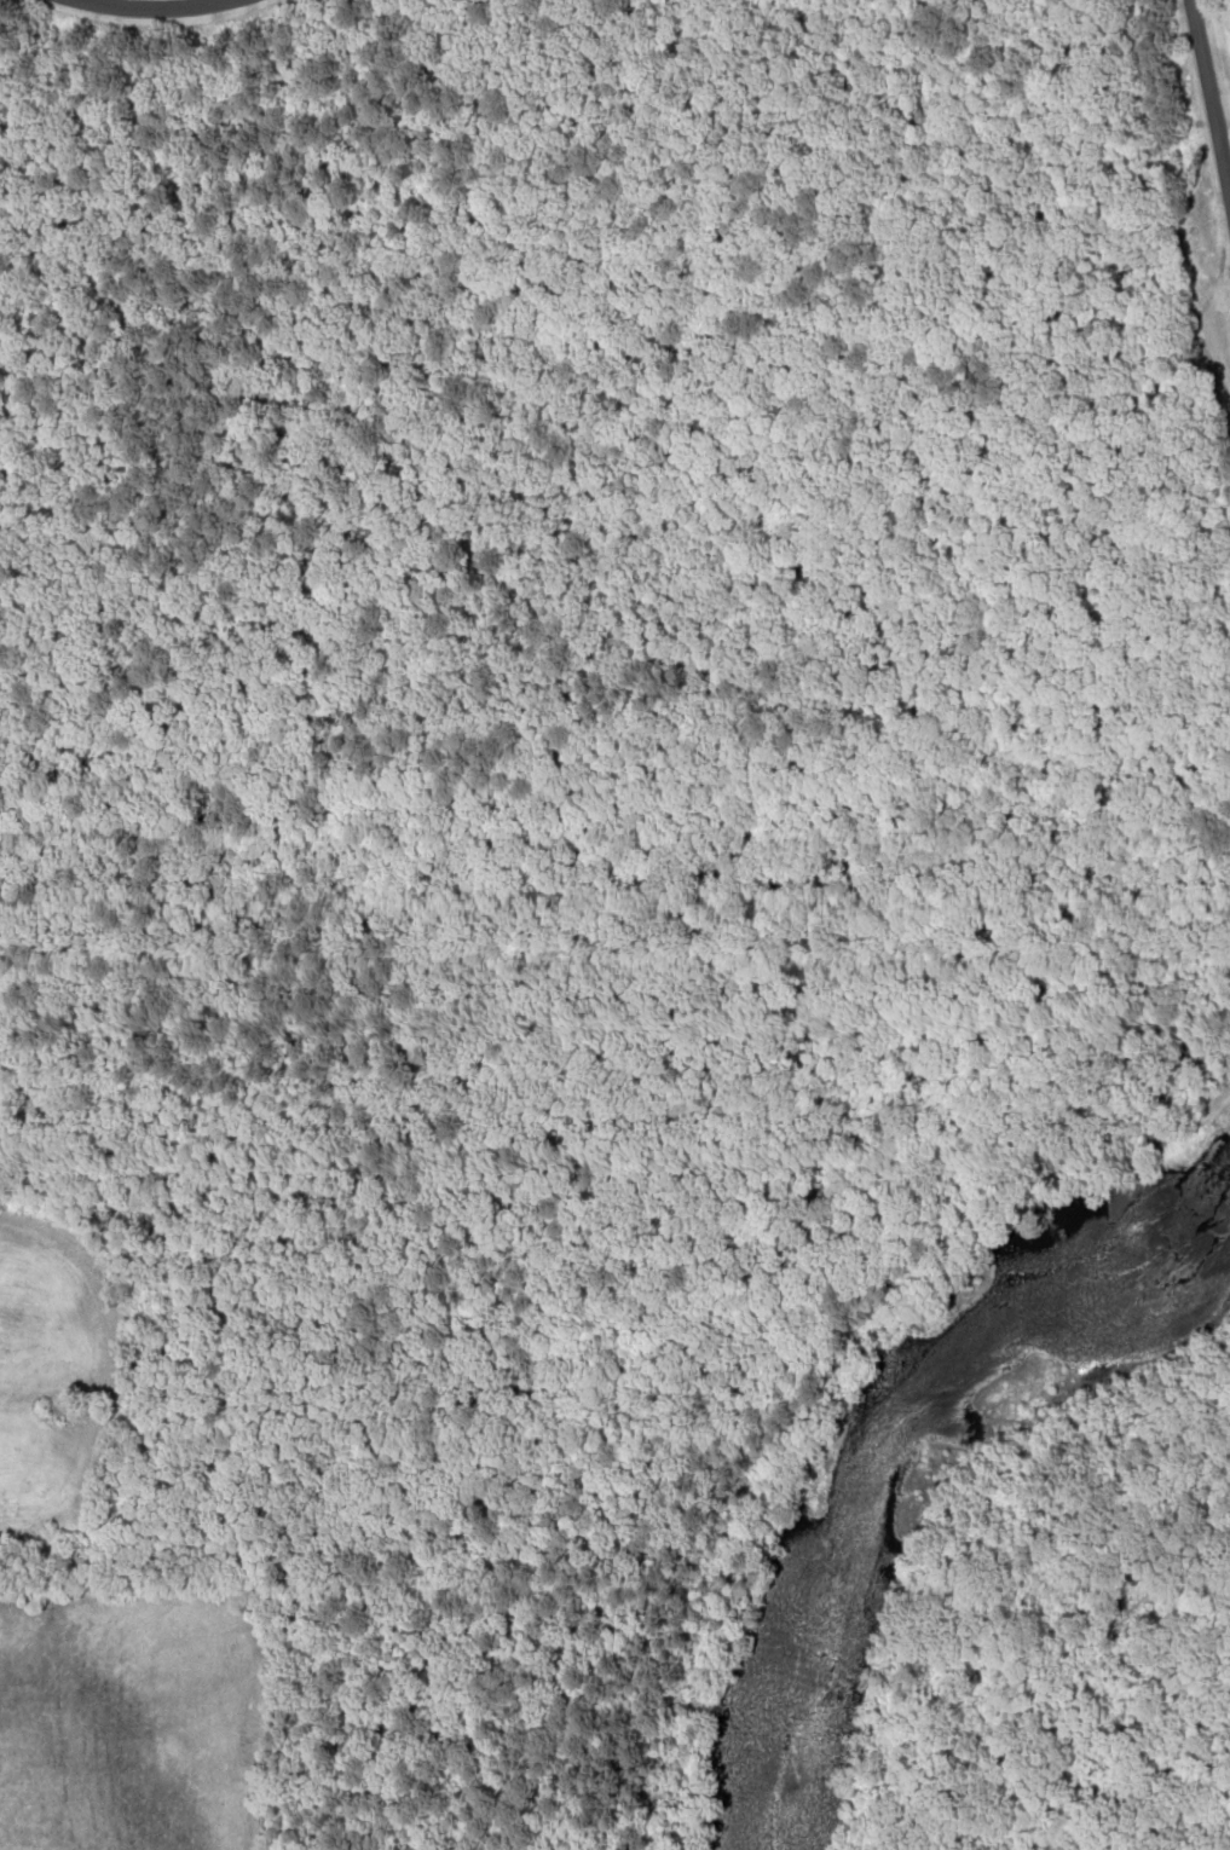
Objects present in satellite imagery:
road: (143, 7)
road: (1208, 109)

